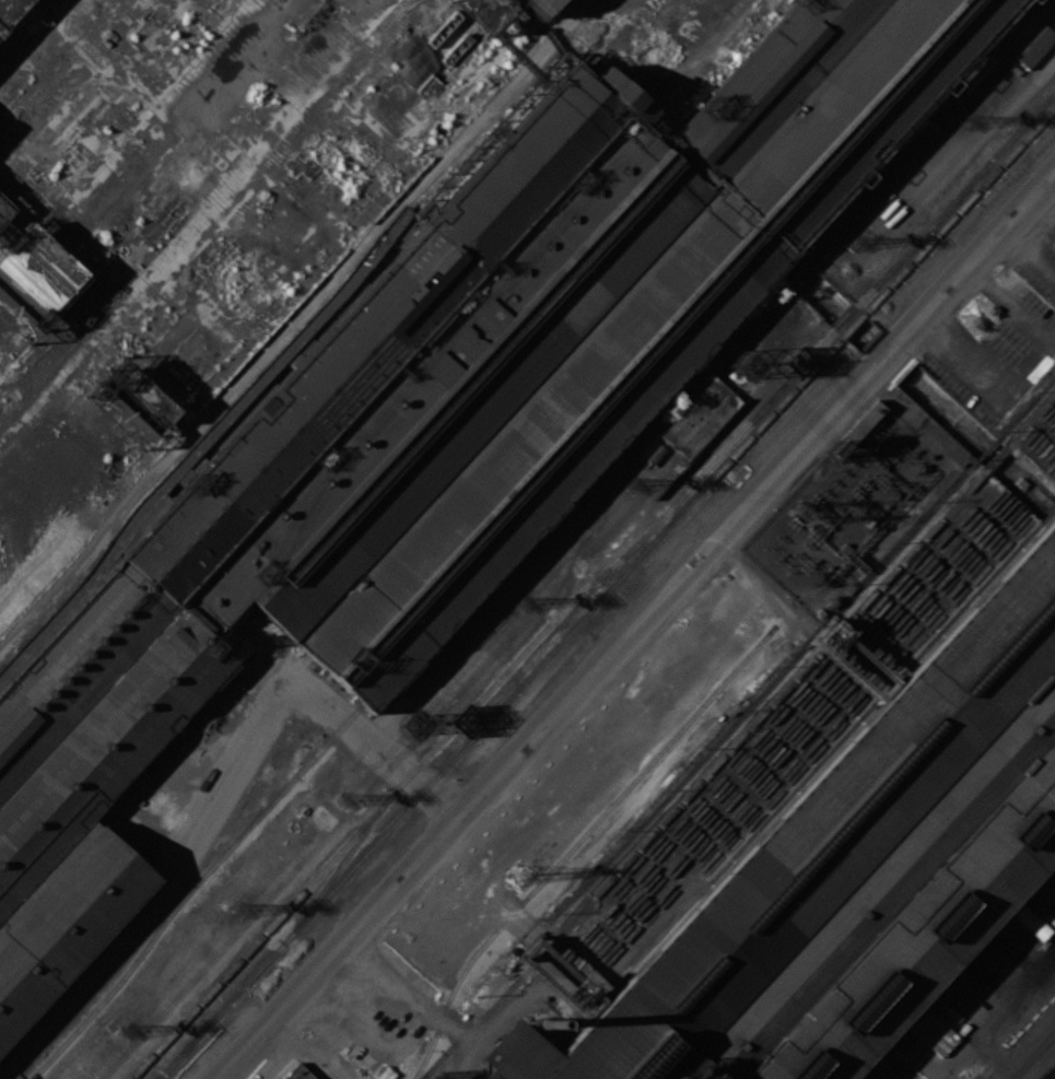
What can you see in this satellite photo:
building: (540, 5)
building: (11, 11)
building: (1038, 47)
road: (1050, 197)
building: (4, 208)
railway: (868, 294)
building: (698, 414)
building: (444, 424)
railway: (607, 593)
road: (629, 624)
railway: (739, 738)
railway: (401, 784)
road: (215, 798)
railway: (576, 842)
railway: (339, 866)
building: (855, 875)
railway: (181, 900)
building: (1029, 919)
building: (933, 1032)
railway: (1029, 1040)
railway: (1022, 1043)
road: (1035, 1058)
railway: (32, 1064)
building: (437, 1065)
building: (298, 1072)

